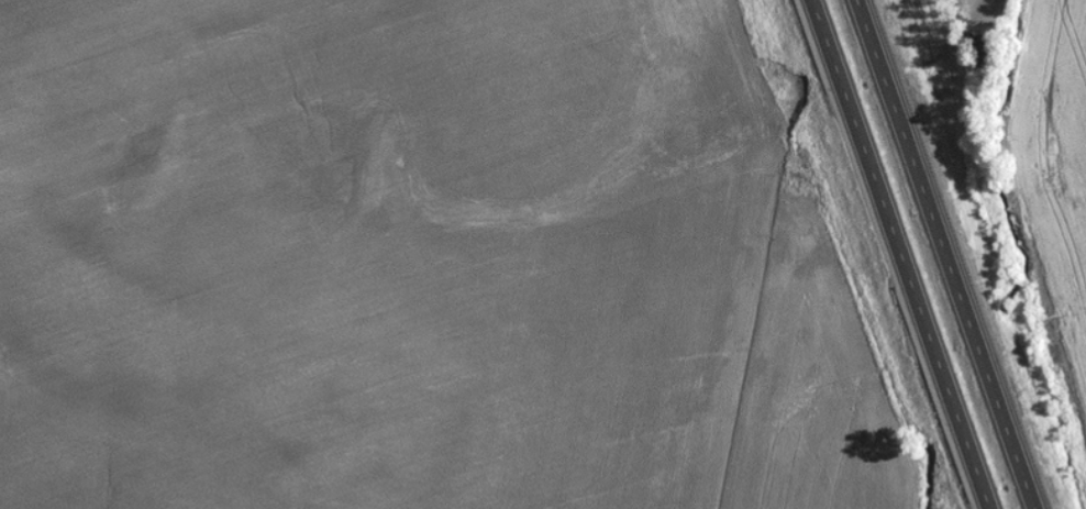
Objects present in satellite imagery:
road: (898, 254)
road: (950, 254)

